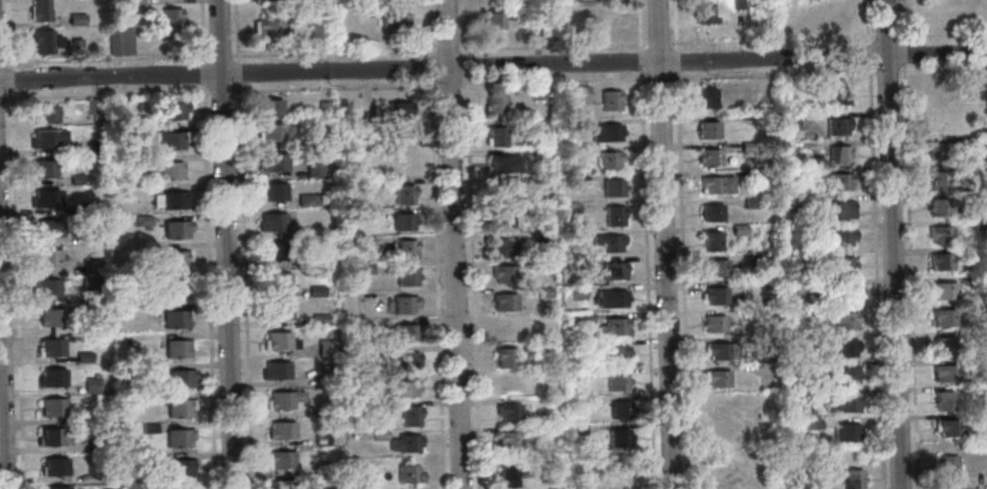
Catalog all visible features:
building: (135, 2)
building: (737, 4)
building: (40, 10)
building: (368, 10)
building: (702, 13)
building: (77, 19)
building: (493, 21)
building: (170, 22)
building: (395, 22)
building: (610, 22)
road: (903, 22)
road: (867, 23)
road: (674, 24)
building: (535, 25)
road: (638, 25)
road: (463, 27)
road: (428, 28)
building: (269, 29)
building: (316, 29)
road: (236, 30)
road: (200, 31)
road: (7, 33)
road: (945, 34)
building: (45, 41)
building: (121, 41)
road: (703, 42)
road: (656, 43)
road: (551, 45)
building: (76, 46)
road: (740, 48)
road: (409, 50)
road: (446, 50)
road: (272, 53)
road: (868, 55)
road: (904, 55)
road: (218, 56)
road: (159, 57)
road: (104, 59)
road: (50, 60)
road: (316, 60)
road: (675, 60)
road: (640, 61)
road: (1, 62)
road: (464, 65)
road: (493, 66)
road: (430, 68)
road: (942, 69)
road: (886, 70)
road: (237, 72)
road: (201, 73)
road: (772, 75)
road: (9, 78)
road: (658, 78)
road: (552, 81)
road: (447, 84)
road: (334, 87)
road: (220, 90)
road: (161, 92)
building: (538, 92)
building: (934, 92)
building: (577, 93)
road: (107, 94)
building: (840, 94)
road: (51, 95)
road: (1, 97)
building: (707, 98)
building: (610, 101)
building: (495, 105)
building: (93, 107)
building: (322, 108)
building: (269, 109)
building: (173, 110)
building: (399, 111)
building: (46, 114)
building: (759, 120)
building: (790, 121)
building: (937, 123)
building: (568, 124)
building: (539, 126)
building: (837, 126)
building: (707, 130)
building: (123, 131)
building: (272, 133)
building: (606, 133)
building: (497, 137)
building: (45, 139)
building: (172, 140)
building: (966, 141)
building: (311, 142)
building: (747, 147)
building: (938, 151)
building: (839, 154)
building: (540, 155)
building: (710, 158)
building: (608, 160)
building: (274, 163)
building: (505, 164)
building: (404, 166)
building: (315, 168)
building: (44, 169)
building: (170, 171)
building: (761, 174)
building: (77, 180)
building: (571, 180)
building: (840, 181)
building: (937, 182)
building: (716, 185)
building: (613, 188)
building: (501, 192)
building: (273, 193)
building: (403, 195)
building: (47, 199)
building: (174, 199)
building: (305, 200)
building: (317, 200)
building: (751, 203)
building: (790, 203)
building: (945, 207)
building: (94, 208)
building: (572, 208)
building: (542, 209)
building: (113, 210)
building: (841, 210)
building: (711, 213)
building: (362, 214)
building: (614, 216)
building: (501, 220)
building: (143, 221)
building: (403, 222)
building: (273, 223)
building: (980, 225)
building: (49, 229)
building: (176, 229)
building: (792, 229)
building: (739, 230)
building: (96, 234)
building: (571, 235)
building: (940, 235)
building: (541, 237)
building: (841, 237)
building: (711, 241)
building: (364, 242)
road: (224, 244)
road: (452, 244)
building: (611, 244)
road: (663, 244)
road: (891, 244)
building: (502, 248)
building: (405, 250)
building: (978, 252)
building: (277, 253)
building: (49, 259)
building: (321, 259)
building: (175, 260)
building: (760, 260)
building: (799, 260)
building: (941, 262)
building: (582, 263)
building: (541, 265)
building: (842, 265)
building: (96, 267)
building: (365, 269)
building: (713, 269)
building: (613, 271)
building: (502, 274)
road: (909, 276)
building: (405, 277)
road: (875, 277)
road: (646, 280)
road: (681, 280)
building: (976, 280)
building: (278, 282)
road: (471, 282)
building: (93, 283)
road: (435, 284)
road: (243, 285)
road: (207, 286)
building: (801, 287)
building: (47, 288)
road: (16, 289)
building: (174, 289)
building: (316, 291)
building: (942, 291)
building: (543, 292)
building: (577, 293)
building: (845, 293)
building: (715, 296)
building: (610, 299)
building: (504, 302)
building: (404, 305)
building: (279, 312)
building: (817, 312)
building: (53, 318)
building: (175, 318)
building: (319, 319)
building: (585, 319)
building: (942, 319)
building: (845, 321)
building: (371, 324)
building: (713, 324)
building: (95, 326)
building: (614, 327)
building: (505, 329)
building: (763, 329)
building: (406, 333)
building: (985, 336)
building: (809, 339)
building: (125, 341)
building: (762, 341)
building: (278, 342)
building: (943, 346)
building: (178, 348)
building: (842, 348)
building: (52, 349)
building: (327, 349)
building: (540, 350)
building: (721, 351)
building: (372, 353)
building: (615, 354)
building: (83, 357)
building: (504, 358)
building: (406, 361)
building: (977, 363)
building: (278, 373)
building: (579, 373)
building: (944, 374)
building: (846, 375)
building: (53, 378)
building: (180, 378)
building: (716, 379)
building: (327, 380)
building: (617, 382)
building: (91, 385)
building: (507, 385)
building: (401, 389)
building: (796, 395)
building: (588, 401)
building: (943, 401)
building: (282, 402)
building: (840, 404)
building: (720, 406)
building: (53, 408)
building: (180, 408)
building: (620, 410)
building: (315, 412)
building: (508, 413)
building: (410, 417)
road: (2, 421)
building: (813, 424)
building: (148, 428)
building: (949, 429)
building: (577, 430)
building: (282, 431)
building: (720, 432)
building: (844, 432)
building: (379, 435)
building: (55, 436)
building: (179, 438)
building: (618, 438)
building: (322, 440)
building: (509, 441)
building: (406, 444)
building: (98, 445)
building: (140, 458)
building: (282, 461)
building: (54, 466)
building: (947, 466)
building: (181, 469)
building: (325, 471)
building: (360, 474)
building: (409, 474)
building: (507, 477)
building: (852, 479)
building: (720, 480)
building: (986, 480)
building: (624, 482)
building: (798, 483)
building: (282, 484)
building: (183, 486)
building: (56, 488)
building: (130, 488)

